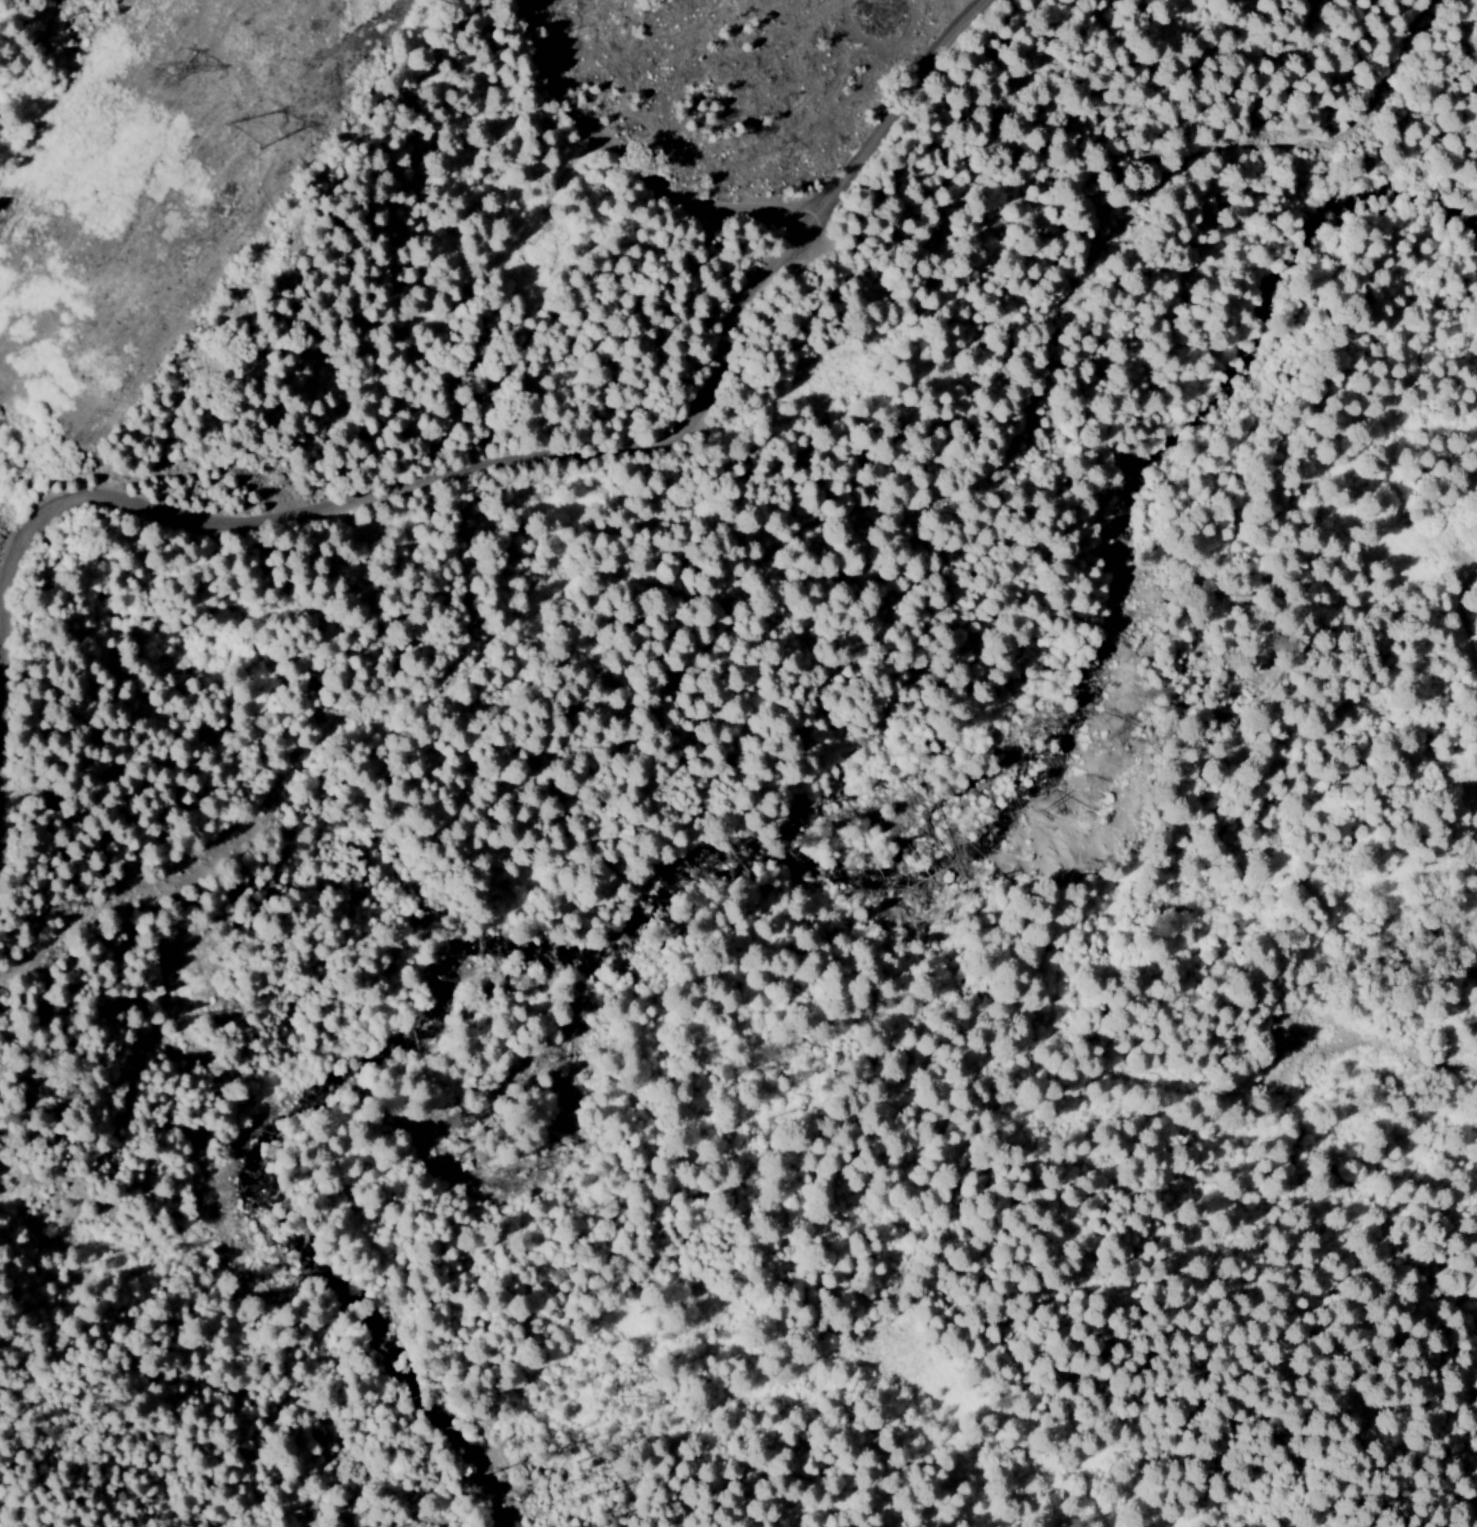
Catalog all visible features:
power tower: (158, 73)
road: (900, 116)
power tower: (229, 120)
road: (602, 174)
road: (449, 490)

